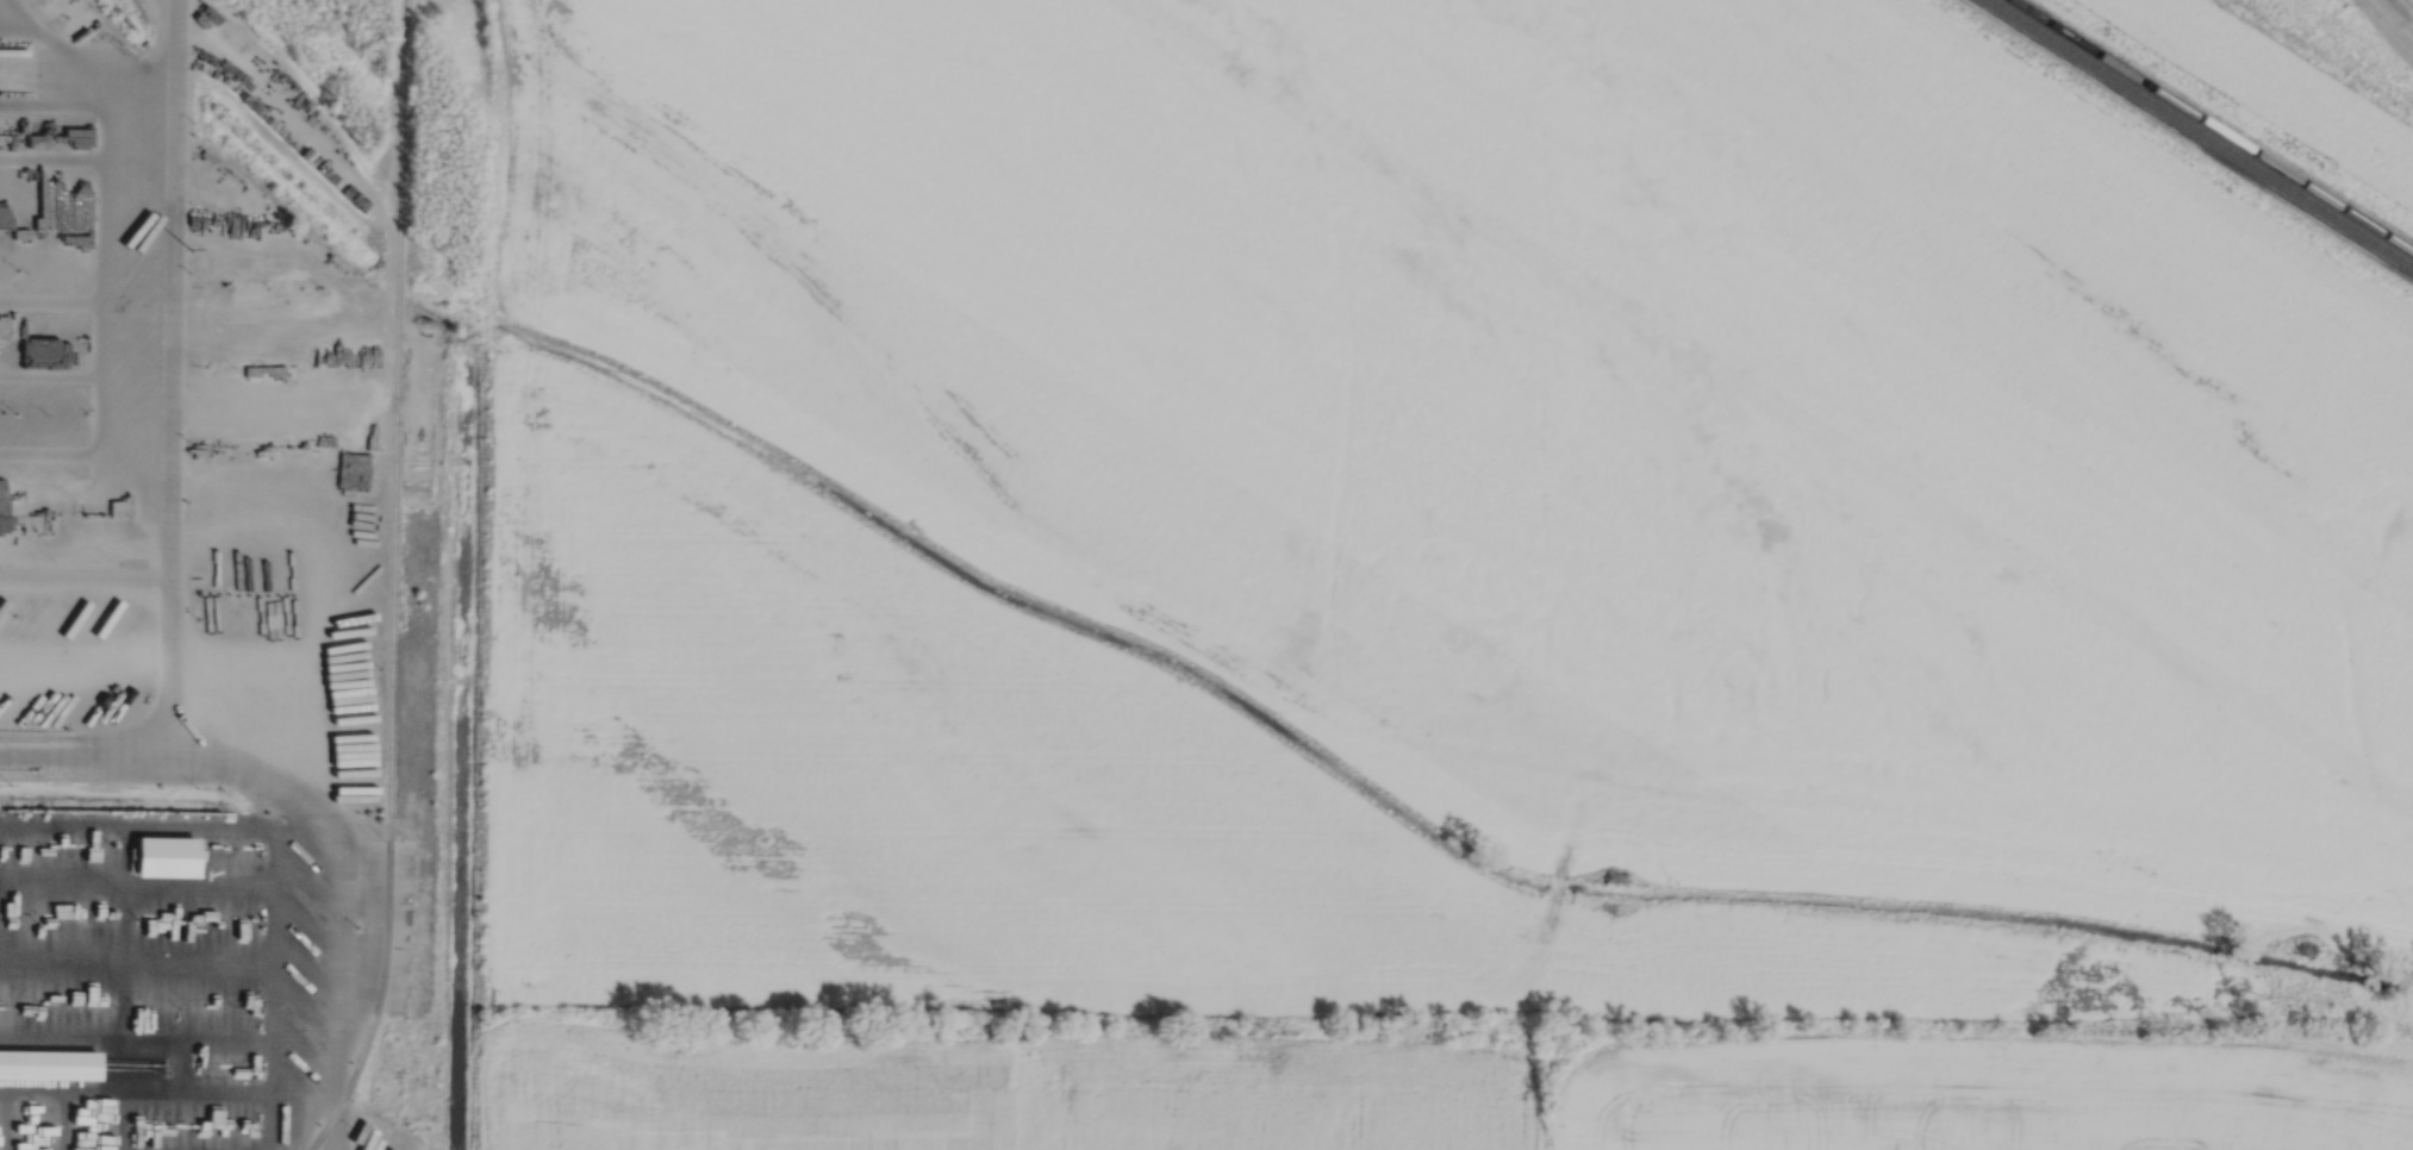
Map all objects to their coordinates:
railway: (400, 23)
railway: (2211, 126)
railway: (2200, 133)
road: (170, 374)
building: (23, 386)
railway: (392, 582)
road: (329, 811)
road: (229, 821)
building: (167, 856)
road: (126, 867)
road: (125, 924)
road: (125, 992)
road: (274, 1007)
building: (49, 1065)
road: (92, 1089)
road: (229, 1090)
road: (7, 1119)
road: (66, 1119)
road: (117, 1119)

